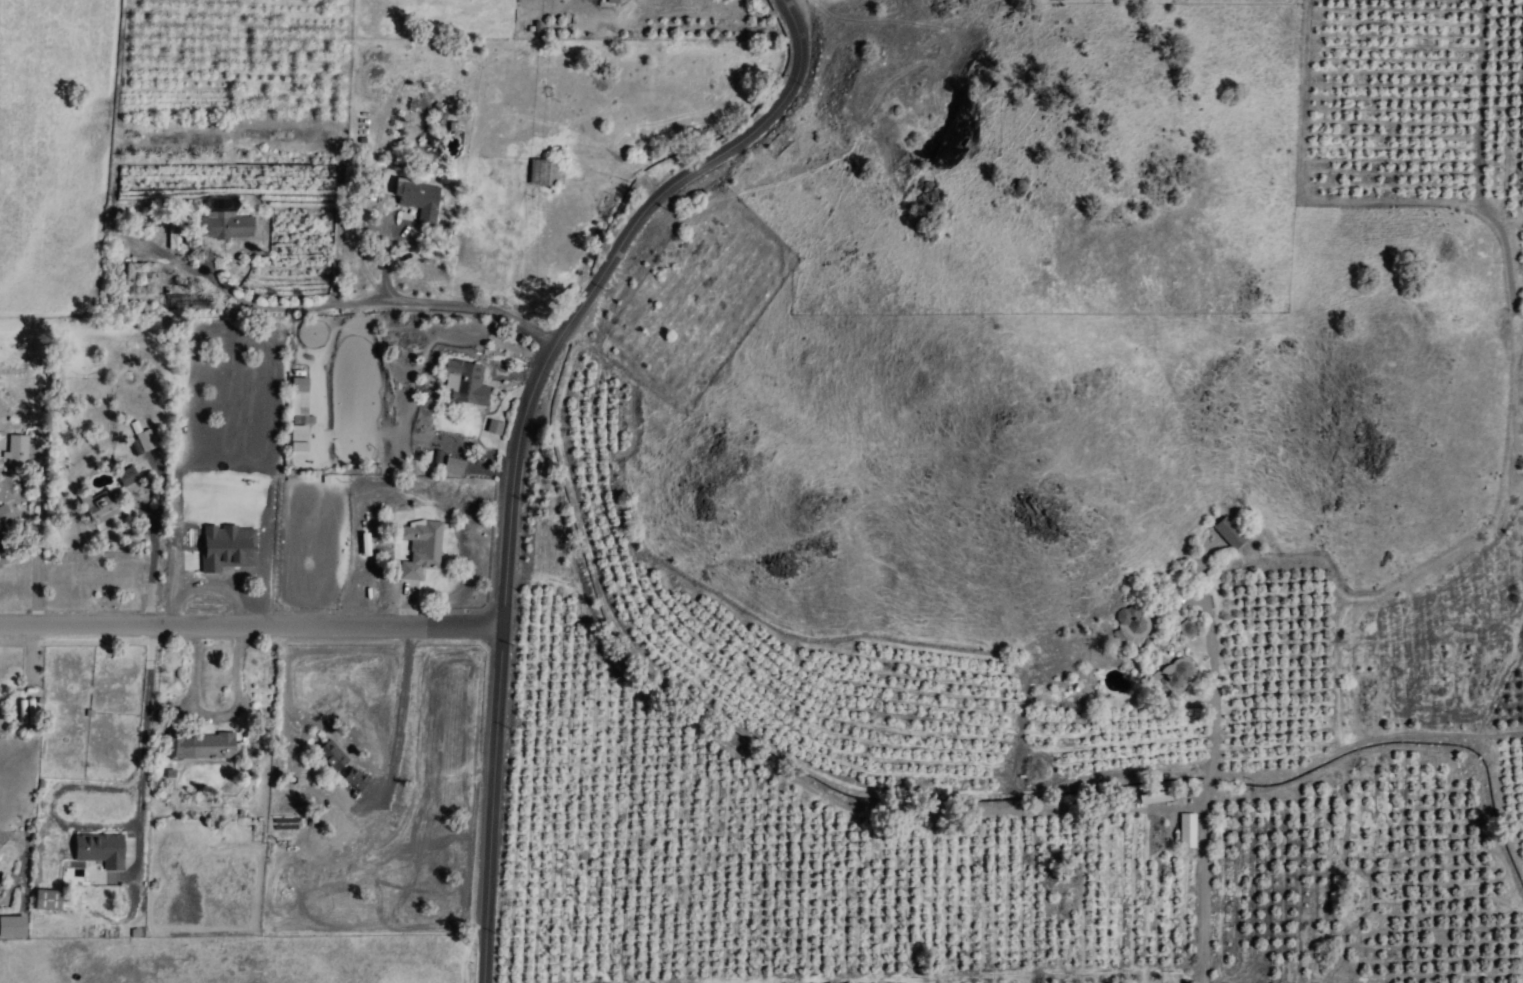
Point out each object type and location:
building: (597, 1)
building: (542, 173)
building: (419, 200)
building: (226, 225)
building: (173, 237)
road: (320, 268)
building: (142, 279)
building: (465, 386)
building: (298, 397)
road: (519, 437)
building: (145, 441)
building: (17, 452)
building: (454, 466)
building: (101, 508)
building: (4, 518)
building: (1227, 534)
road: (36, 535)
road: (153, 544)
building: (417, 545)
road: (251, 627)
building: (1178, 673)
crop: (1015, 678)
road: (1214, 696)
building: (199, 745)
building: (335, 761)
building: (359, 792)
building: (1185, 832)
building: (101, 850)
road: (1206, 889)
building: (48, 900)
building: (13, 926)

